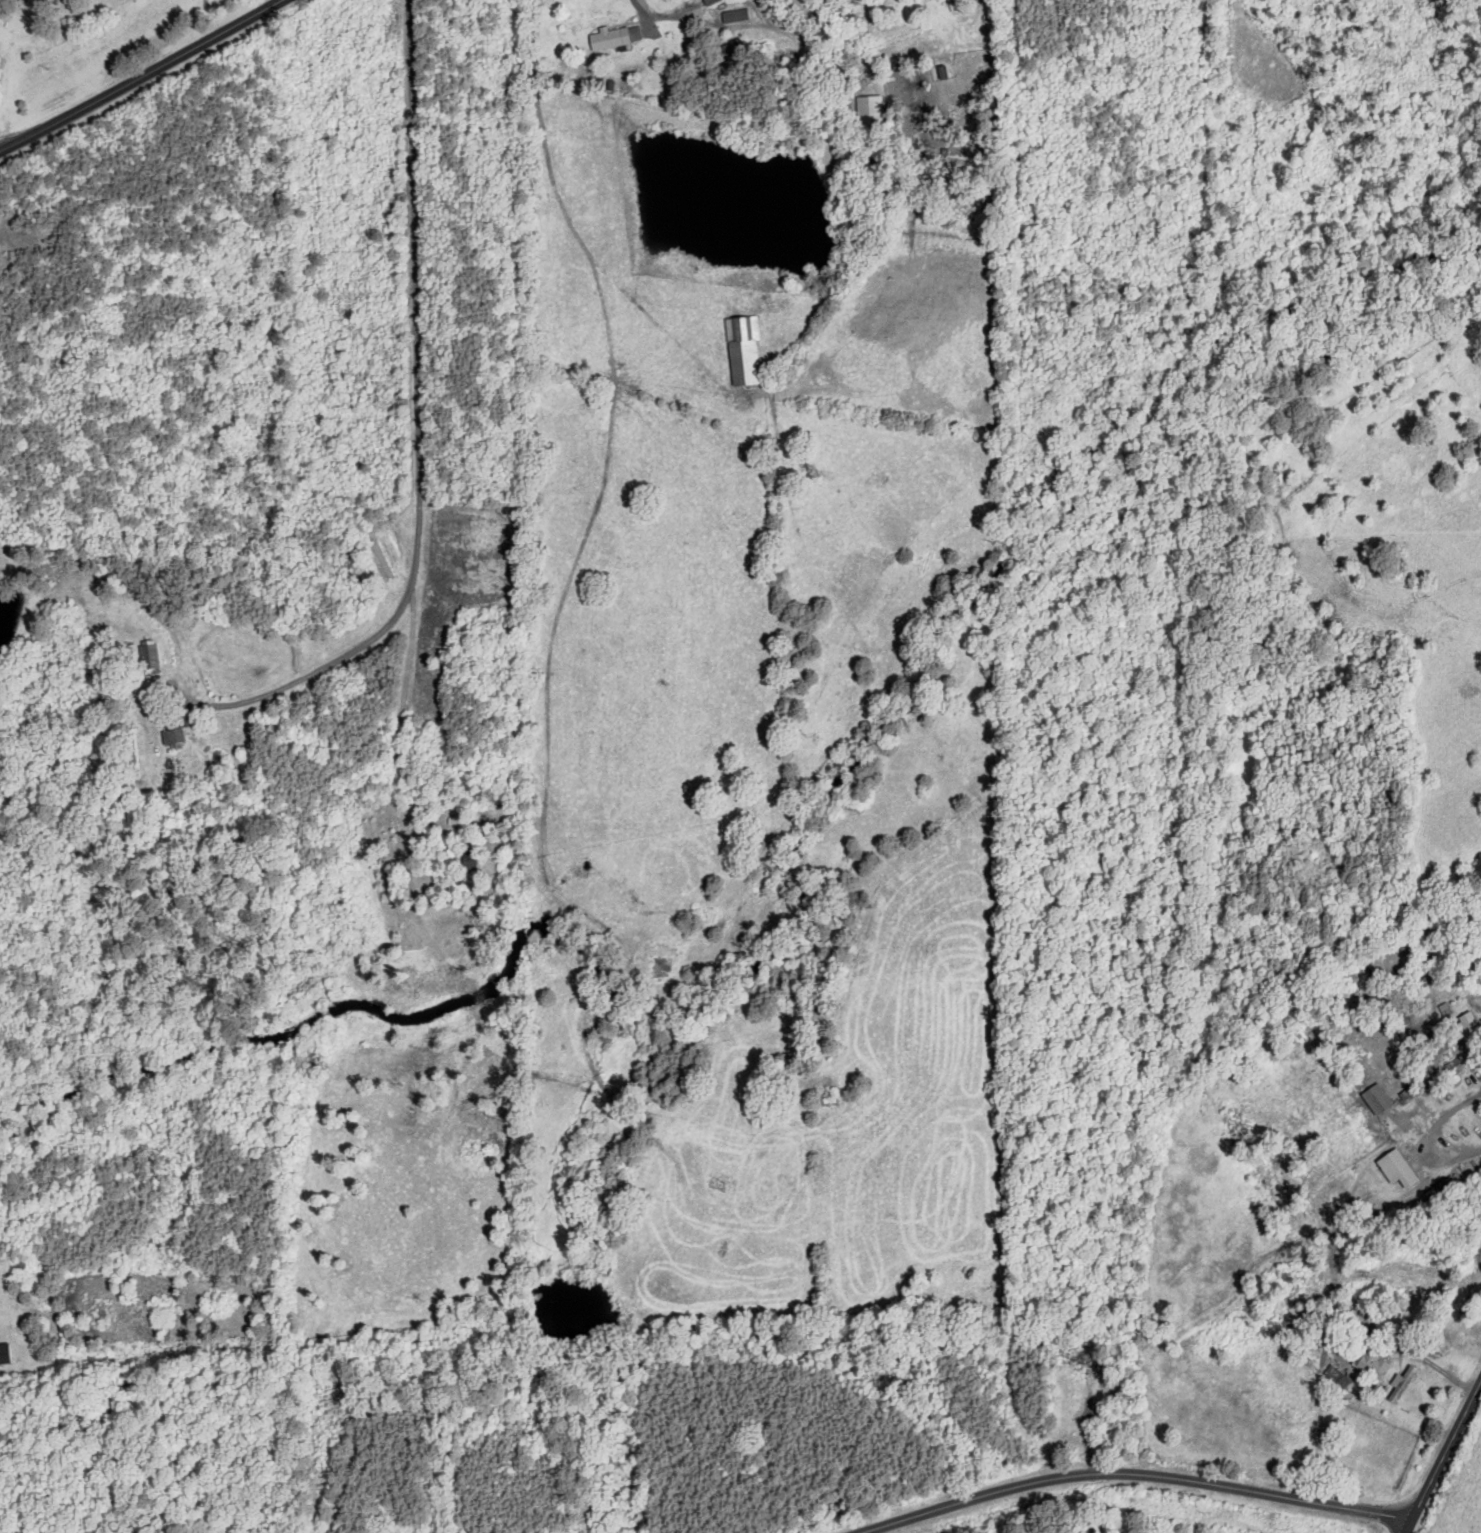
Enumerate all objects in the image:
building: (707, 1)
building: (734, 15)
building: (611, 37)
road: (140, 73)
building: (867, 108)
building: (741, 349)
building: (146, 656)
building: (171, 737)
building: (466, 861)
building: (1443, 1009)
building: (1465, 1024)
building: (1375, 1099)
building: (1394, 1168)
building: (3, 1353)
building: (1370, 1363)
building: (1401, 1383)
road: (1443, 1457)
road: (1132, 1470)

